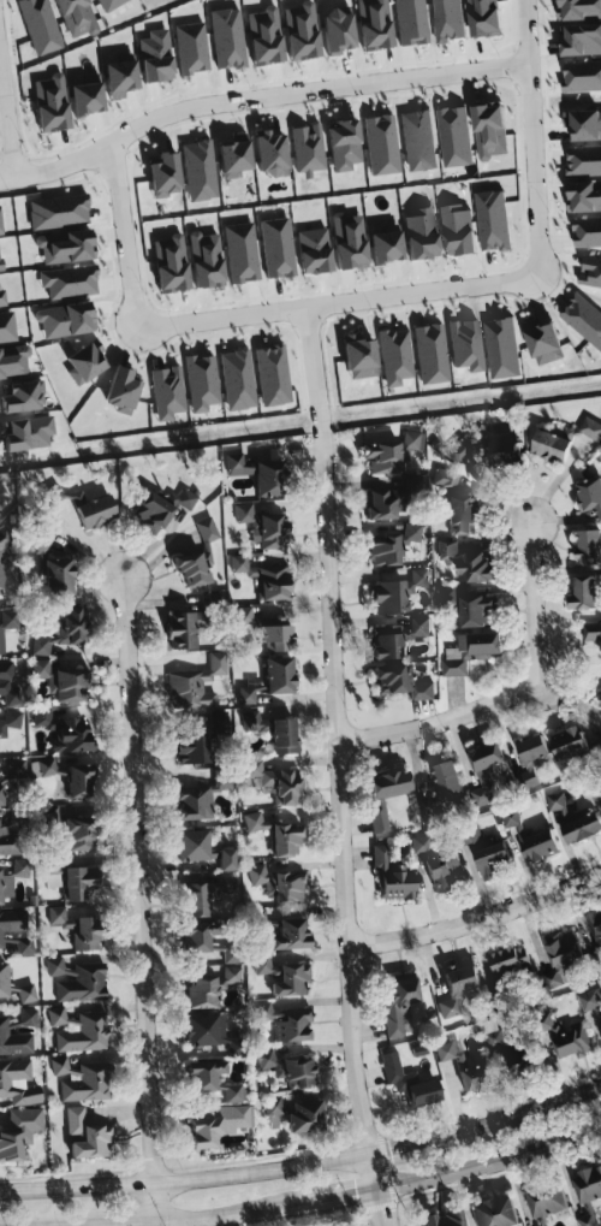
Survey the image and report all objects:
building: (117, 4)
building: (584, 8)
building: (83, 16)
building: (493, 17)
building: (454, 18)
building: (418, 22)
building: (382, 24)
building: (47, 25)
building: (310, 31)
building: (349, 31)
building: (273, 35)
building: (234, 39)
building: (585, 39)
building: (198, 47)
building: (165, 55)
building: (584, 73)
building: (130, 77)
building: (96, 94)
road: (285, 99)
building: (59, 102)
road: (7, 122)
building: (585, 124)
building: (498, 130)
building: (460, 136)
building: (424, 140)
building: (352, 143)
road: (530, 143)
building: (388, 144)
building: (315, 149)
building: (280, 153)
building: (244, 155)
building: (587, 159)
building: (206, 170)
building: (173, 174)
road: (28, 176)
building: (65, 212)
building: (499, 218)
building: (4, 221)
building: (465, 229)
building: (589, 231)
building: (430, 233)
road: (120, 239)
building: (358, 241)
building: (73, 245)
building: (395, 247)
building: (284, 248)
building: (322, 250)
building: (248, 251)
building: (2, 257)
building: (214, 260)
building: (178, 263)
building: (594, 271)
building: (76, 282)
building: (5, 296)
road: (329, 306)
building: (587, 315)
building: (72, 319)
building: (10, 327)
building: (549, 340)
building: (472, 344)
building: (507, 347)
building: (438, 354)
building: (401, 356)
building: (368, 357)
building: (93, 363)
road: (313, 374)
building: (280, 375)
building: (244, 380)
building: (208, 383)
building: (130, 390)
building: (173, 392)
building: (30, 397)
building: (36, 433)
building: (551, 445)
building: (504, 450)
building: (391, 454)
building: (261, 474)
building: (589, 493)
building: (191, 498)
building: (391, 501)
building: (456, 504)
building: (96, 511)
building: (151, 513)
building: (1, 519)
building: (263, 526)
building: (207, 531)
building: (411, 532)
building: (589, 545)
building: (383, 550)
building: (475, 565)
building: (194, 569)
building: (418, 576)
building: (59, 578)
building: (263, 578)
building: (587, 591)
building: (453, 594)
building: (389, 597)
building: (475, 608)
building: (252, 615)
building: (419, 624)
building: (66, 629)
building: (180, 629)
building: (591, 630)
building: (276, 634)
building: (5, 641)
building: (389, 646)
building: (470, 650)
building: (280, 675)
building: (401, 681)
building: (61, 682)
building: (7, 685)
building: (195, 685)
road: (512, 692)
building: (252, 694)
building: (218, 723)
building: (262, 723)
building: (11, 727)
building: (65, 730)
building: (284, 735)
building: (569, 742)
building: (192, 748)
building: (530, 759)
building: (484, 760)
building: (70, 777)
building: (446, 780)
building: (278, 783)
building: (0, 790)
building: (386, 795)
building: (480, 795)
road: (343, 796)
building: (192, 802)
building: (582, 827)
building: (12, 831)
building: (79, 835)
building: (278, 836)
building: (531, 839)
building: (203, 851)
building: (489, 854)
building: (236, 860)
building: (399, 861)
building: (50, 866)
building: (442, 871)
building: (392, 875)
building: (10, 881)
building: (77, 883)
building: (224, 884)
building: (279, 886)
road: (142, 900)
building: (196, 900)
building: (61, 914)
road: (478, 918)
building: (11, 924)
building: (87, 934)
building: (287, 935)
building: (595, 938)
building: (206, 940)
building: (23, 943)
building: (560, 953)
building: (506, 966)
building: (285, 977)
building: (4, 981)
building: (83, 983)
building: (207, 989)
building: (458, 989)
building: (26, 993)
building: (590, 1000)
building: (398, 1005)
building: (600, 1017)
building: (288, 1023)
building: (79, 1030)
building: (17, 1031)
building: (210, 1033)
building: (569, 1043)
building: (457, 1054)
building: (290, 1070)
building: (476, 1077)
building: (83, 1079)
building: (212, 1080)
building: (18, 1083)
building: (410, 1083)
building: (298, 1114)
building: (218, 1124)
road: (486, 1124)
building: (19, 1133)
building: (87, 1137)
road: (489, 1161)
road: (373, 1172)
road: (185, 1180)
building: (588, 1184)
building: (546, 1197)
road: (379, 1208)
building: (495, 1213)
road: (220, 1214)
building: (445, 1219)
road: (219, 1220)

